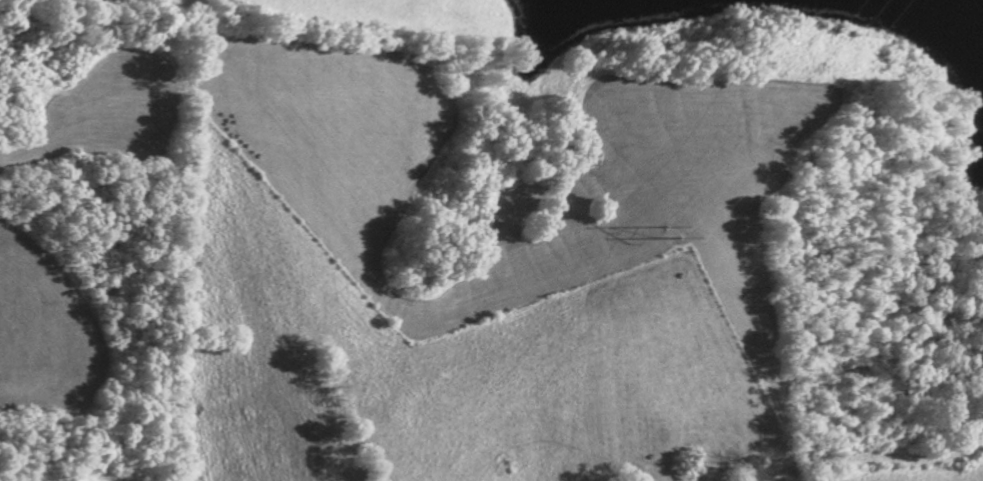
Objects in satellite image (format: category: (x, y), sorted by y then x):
power tower: (670, 233)

